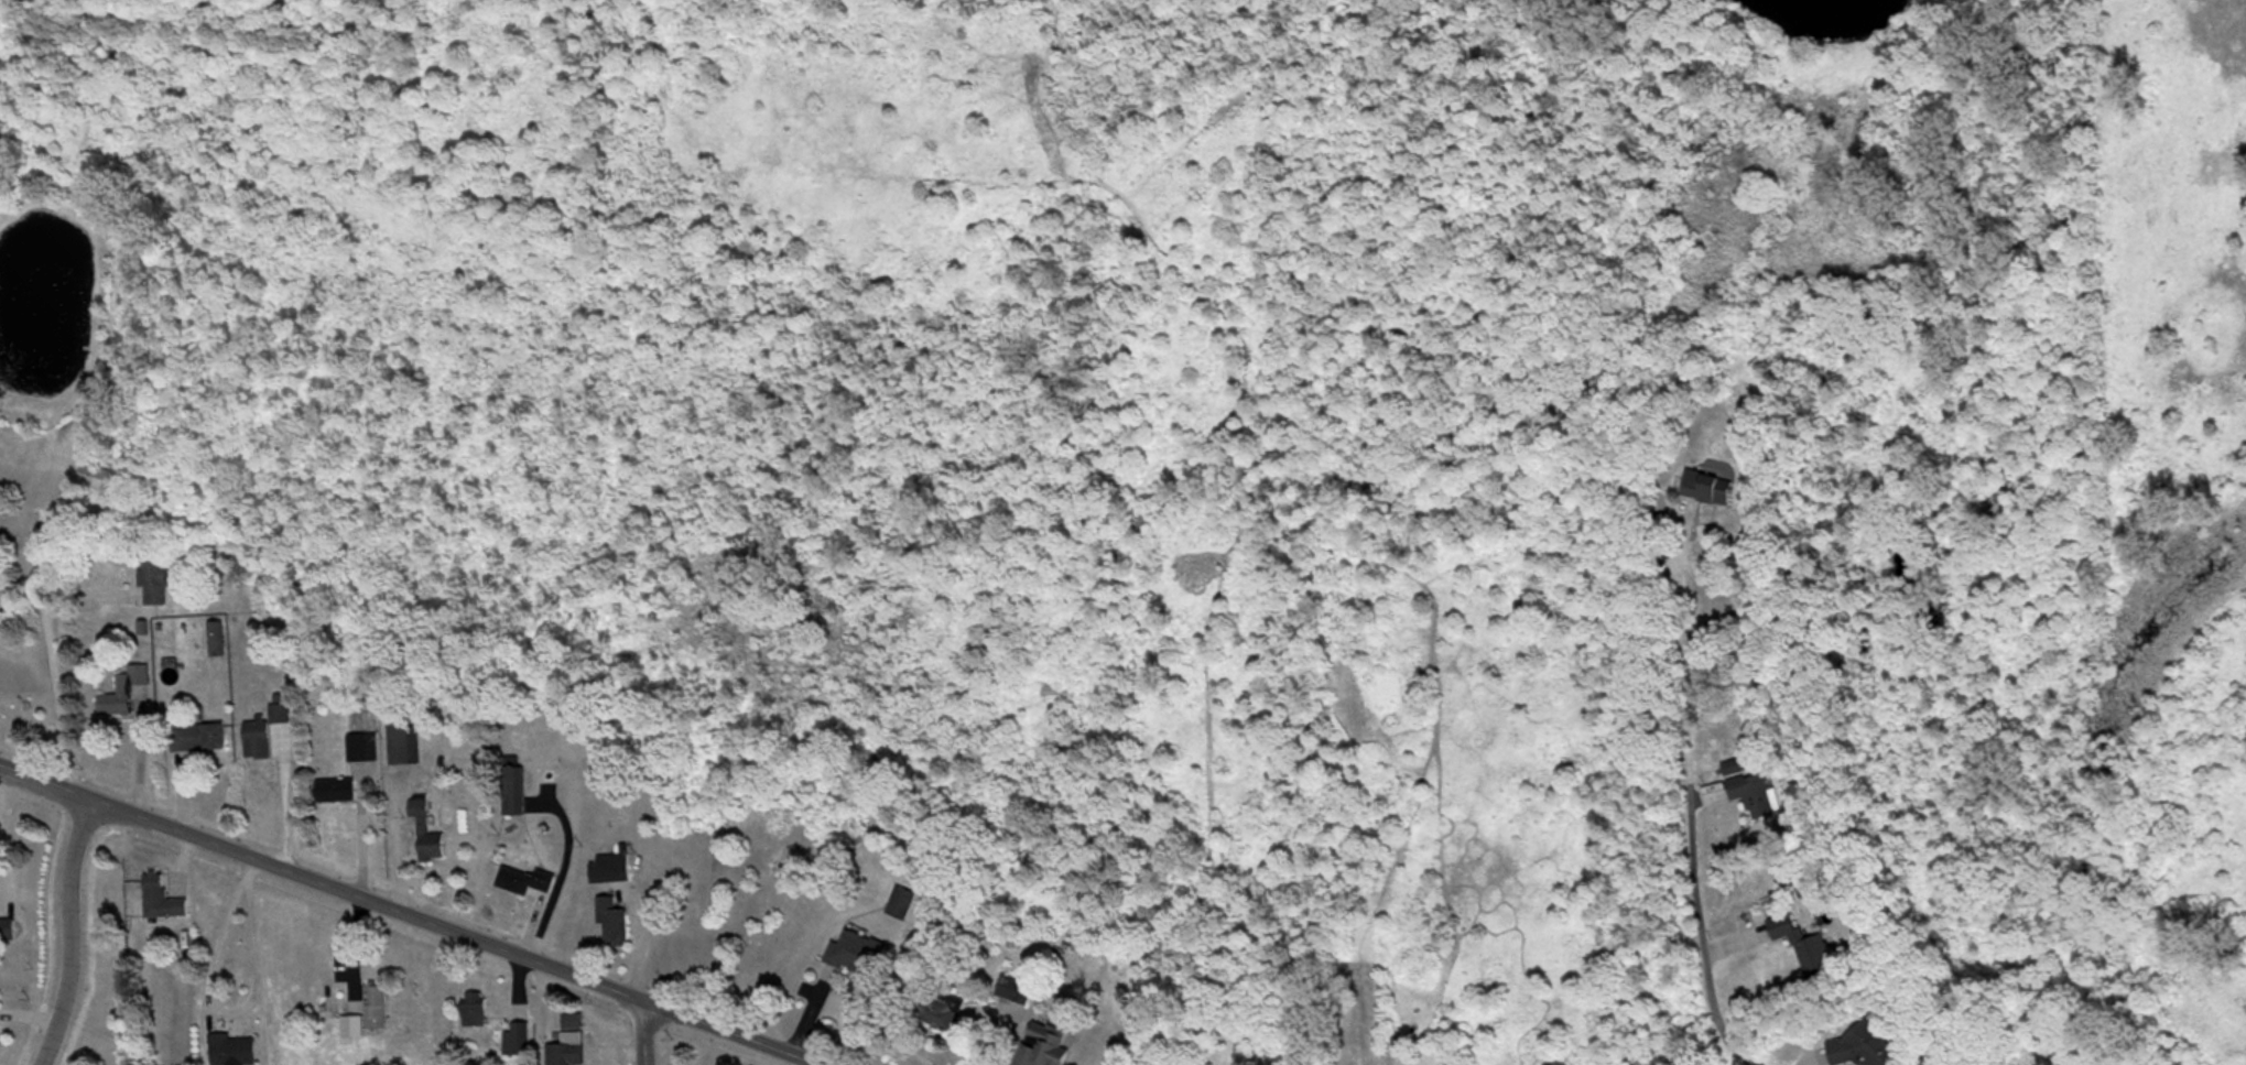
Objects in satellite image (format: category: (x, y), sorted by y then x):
building: (99, 481)
building: (1712, 492)
building: (1, 526)
road: (1078, 532)
building: (160, 580)
building: (292, 630)
building: (218, 643)
road: (30, 669)
building: (127, 694)
building: (199, 740)
building: (259, 742)
building: (405, 745)
building: (364, 750)
building: (337, 793)
building: (517, 794)
building: (1758, 794)
building: (428, 838)
building: (612, 869)
building: (528, 884)
building: (163, 899)
building: (903, 904)
road: (405, 915)
building: (615, 925)
road: (63, 931)
building: (8, 933)
building: (1809, 947)
building: (860, 956)
building: (1016, 991)
building: (378, 1010)
building: (476, 1011)
road: (239, 1013)
building: (943, 1013)
road: (639, 1033)
building: (518, 1040)
building: (1045, 1046)
building: (1874, 1046)
building: (569, 1051)
building: (235, 1052)

